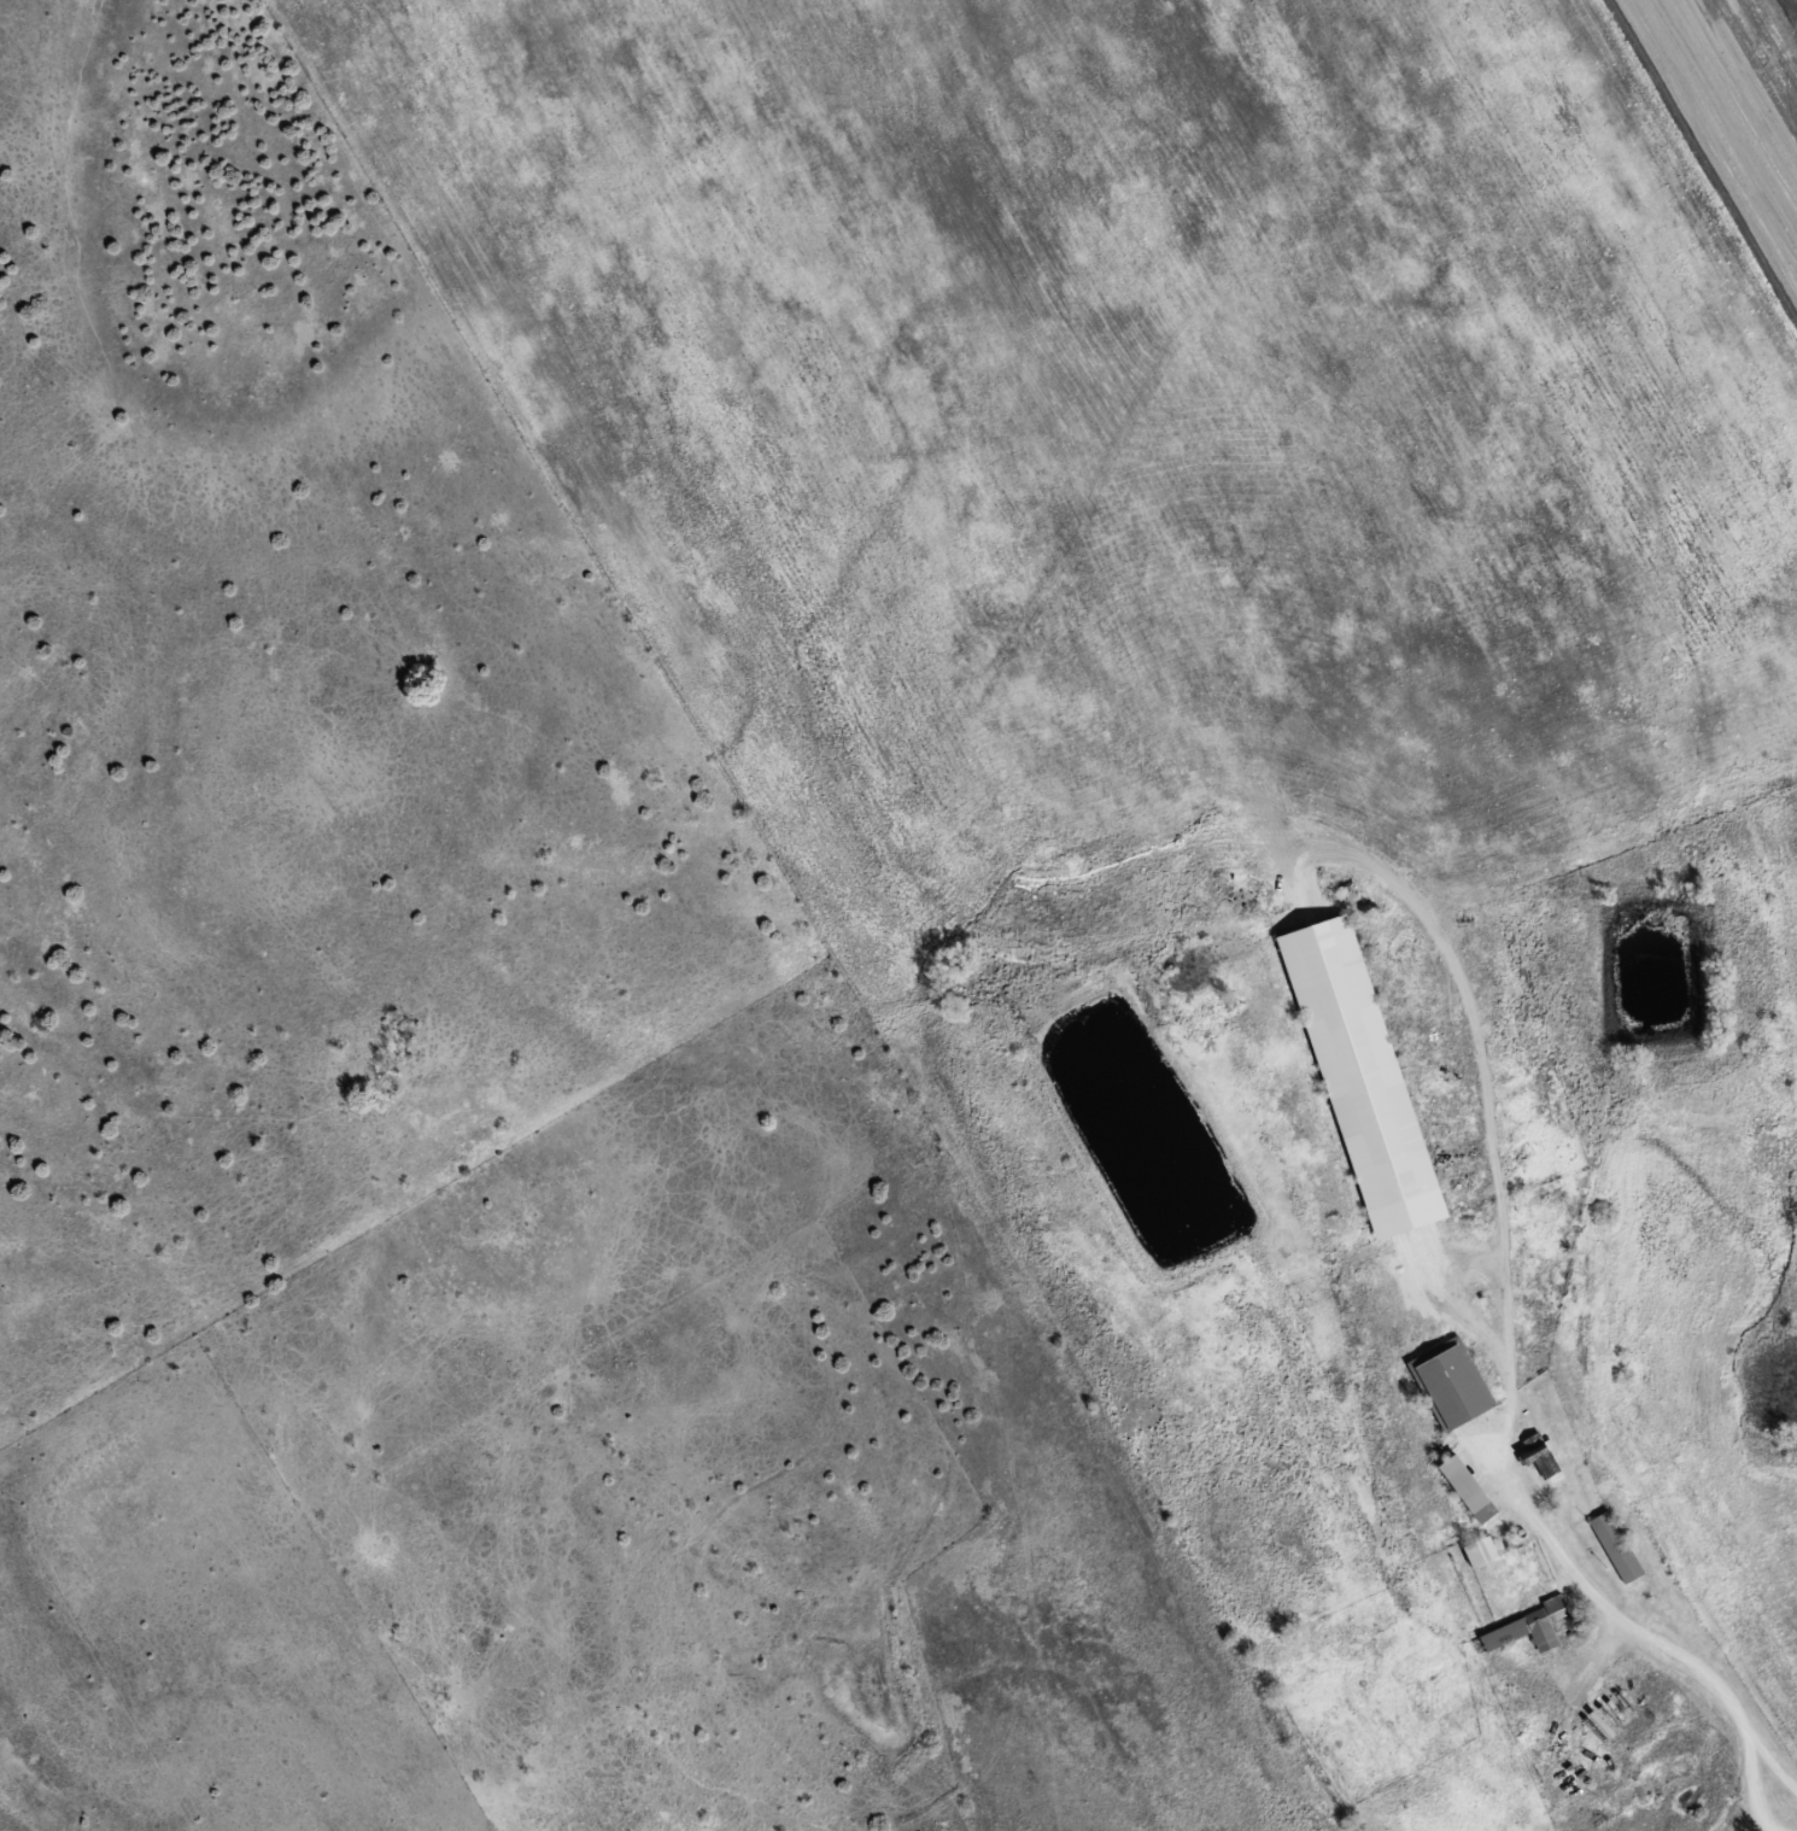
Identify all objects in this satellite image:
building: (1363, 1078)
building: (1452, 1385)
building: (1541, 1457)
building: (1468, 1491)
building: (1617, 1549)
building: (1481, 1552)
building: (1530, 1630)
road: (1711, 1702)

